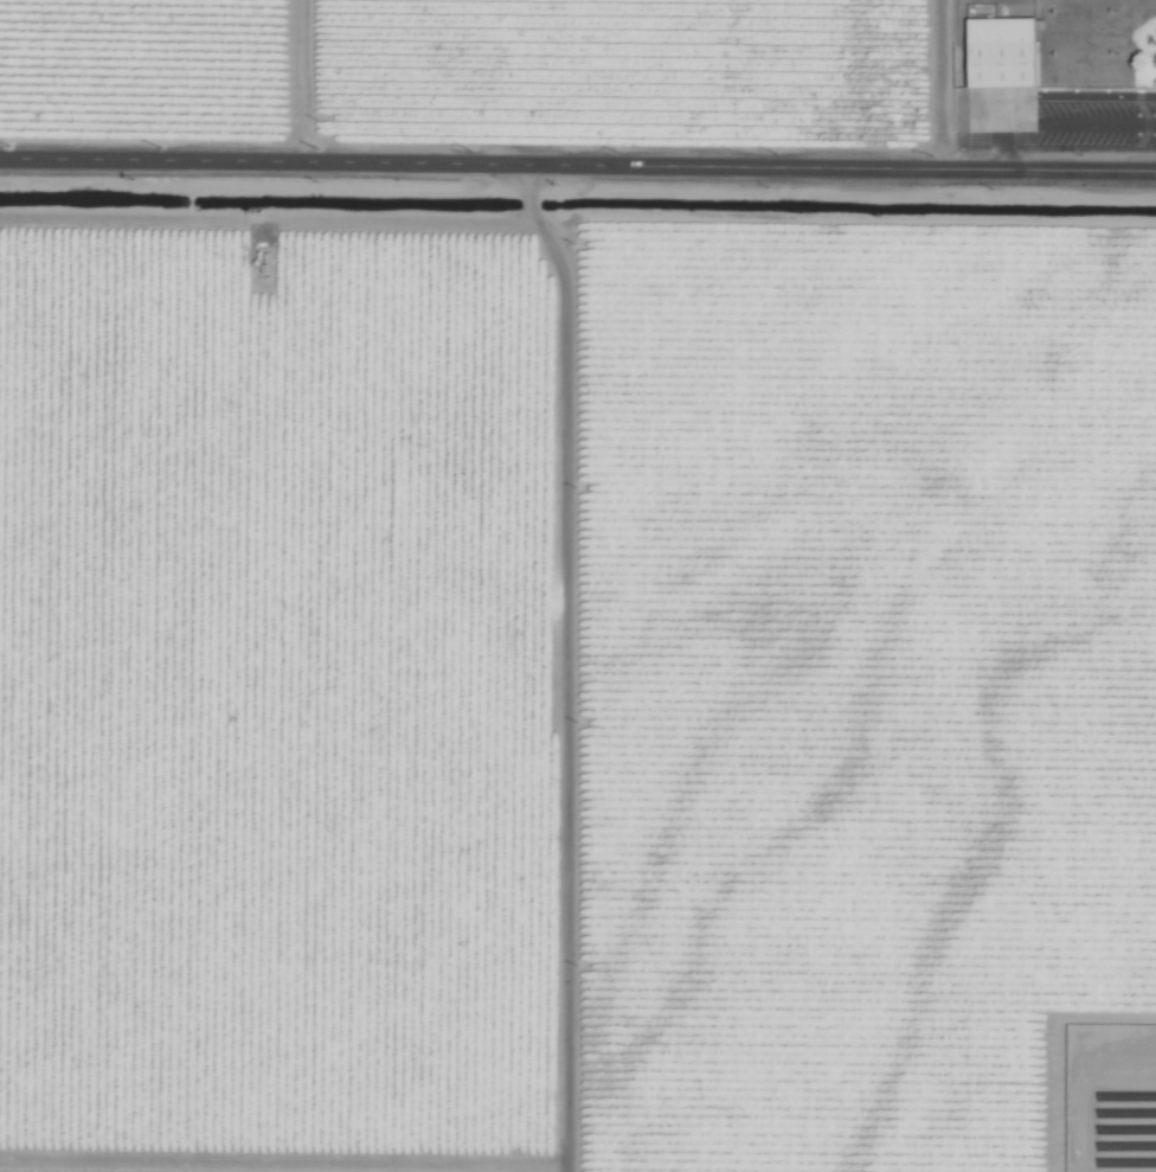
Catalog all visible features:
building: (1001, 51)
road: (1096, 95)
road: (998, 96)
road: (997, 148)
road: (578, 164)
crop: (578, 585)

